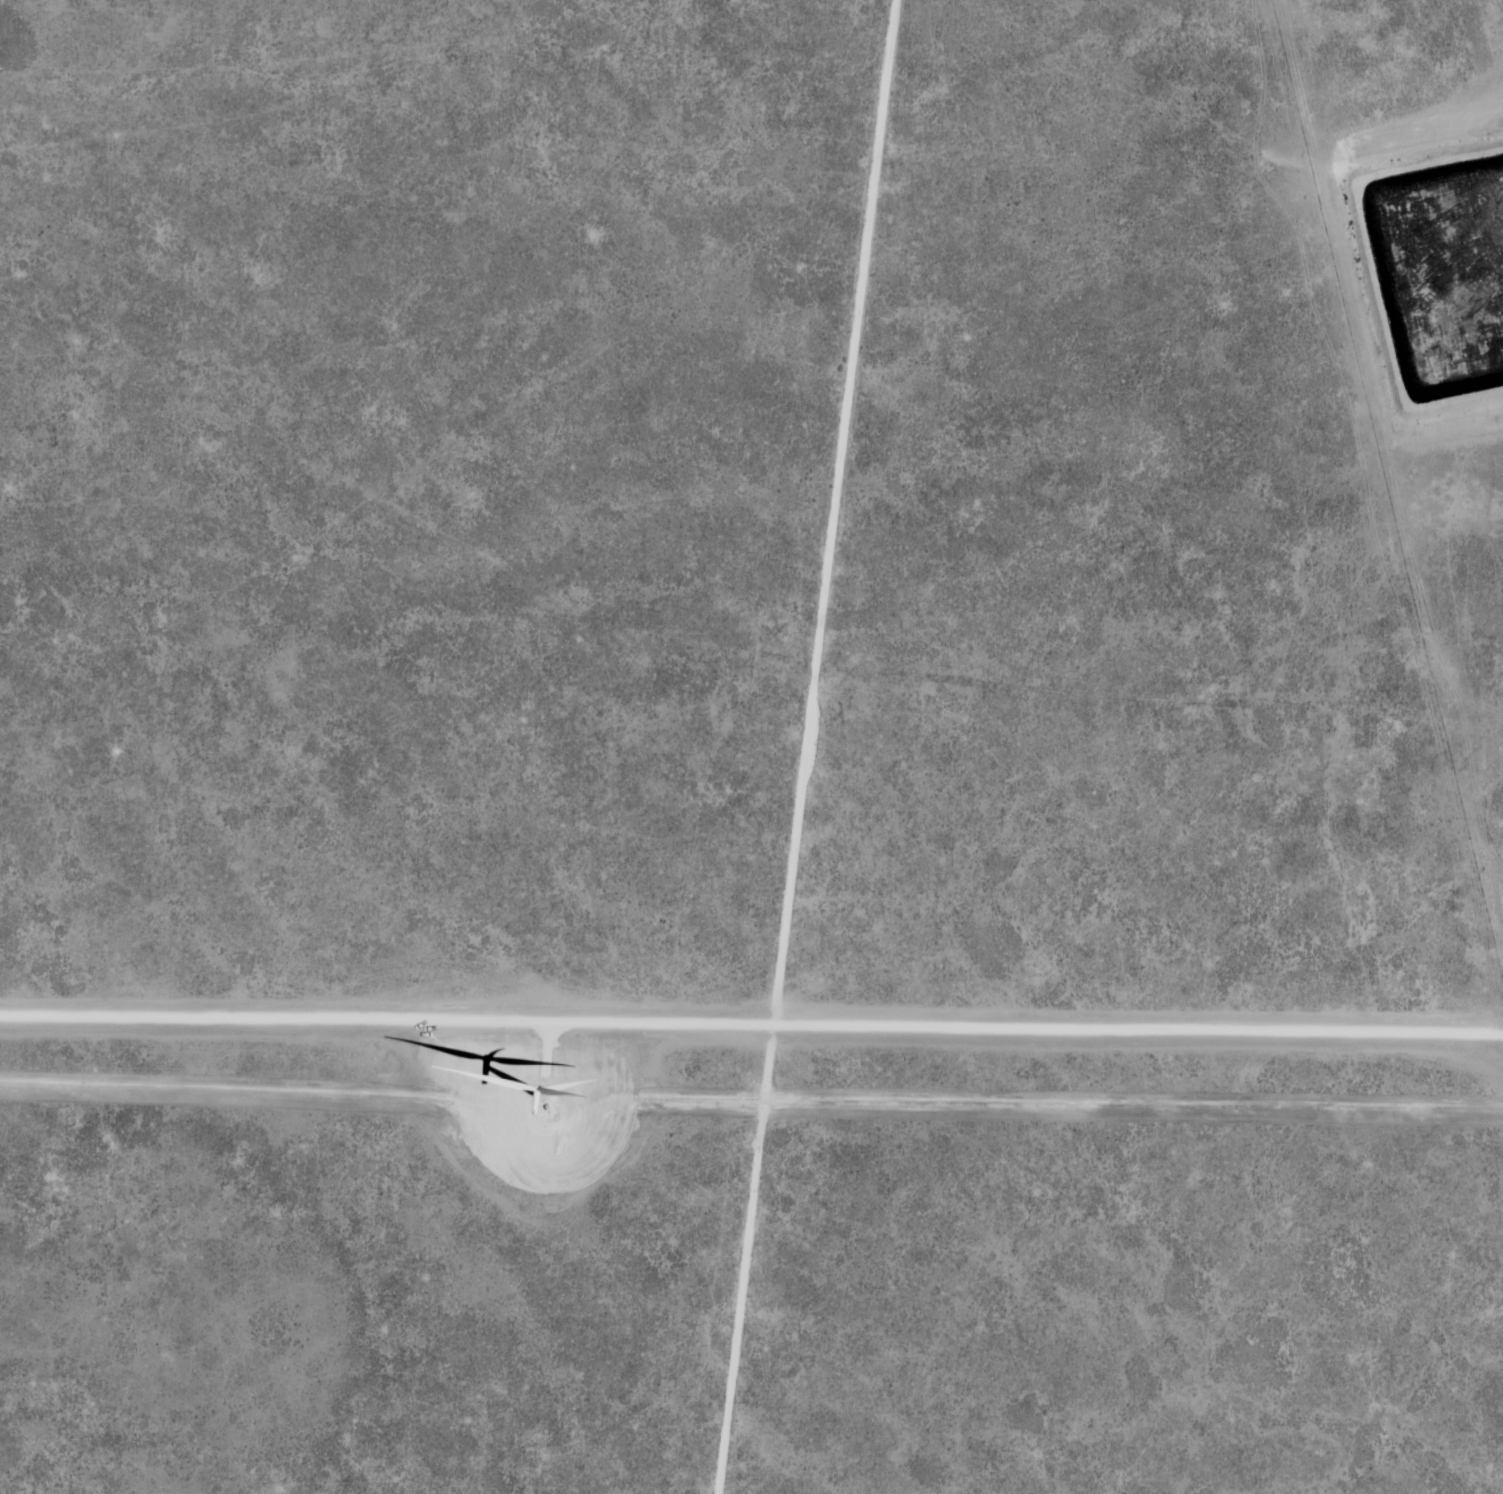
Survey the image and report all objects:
wind turbine: (534, 1095)

